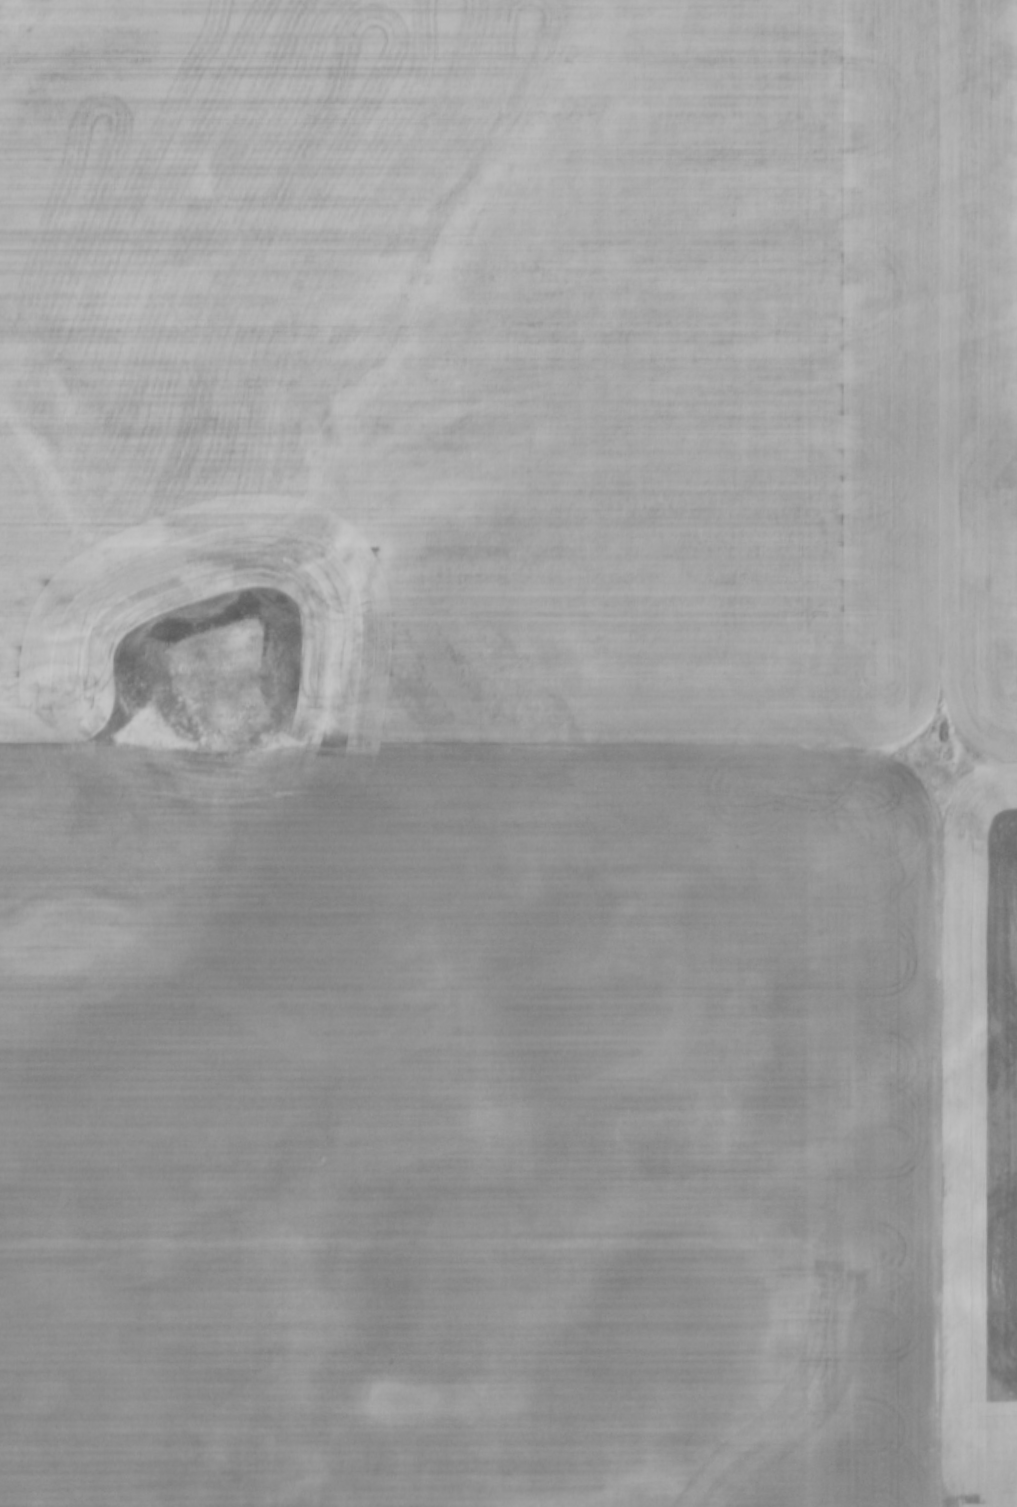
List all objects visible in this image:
road: (940, 753)

